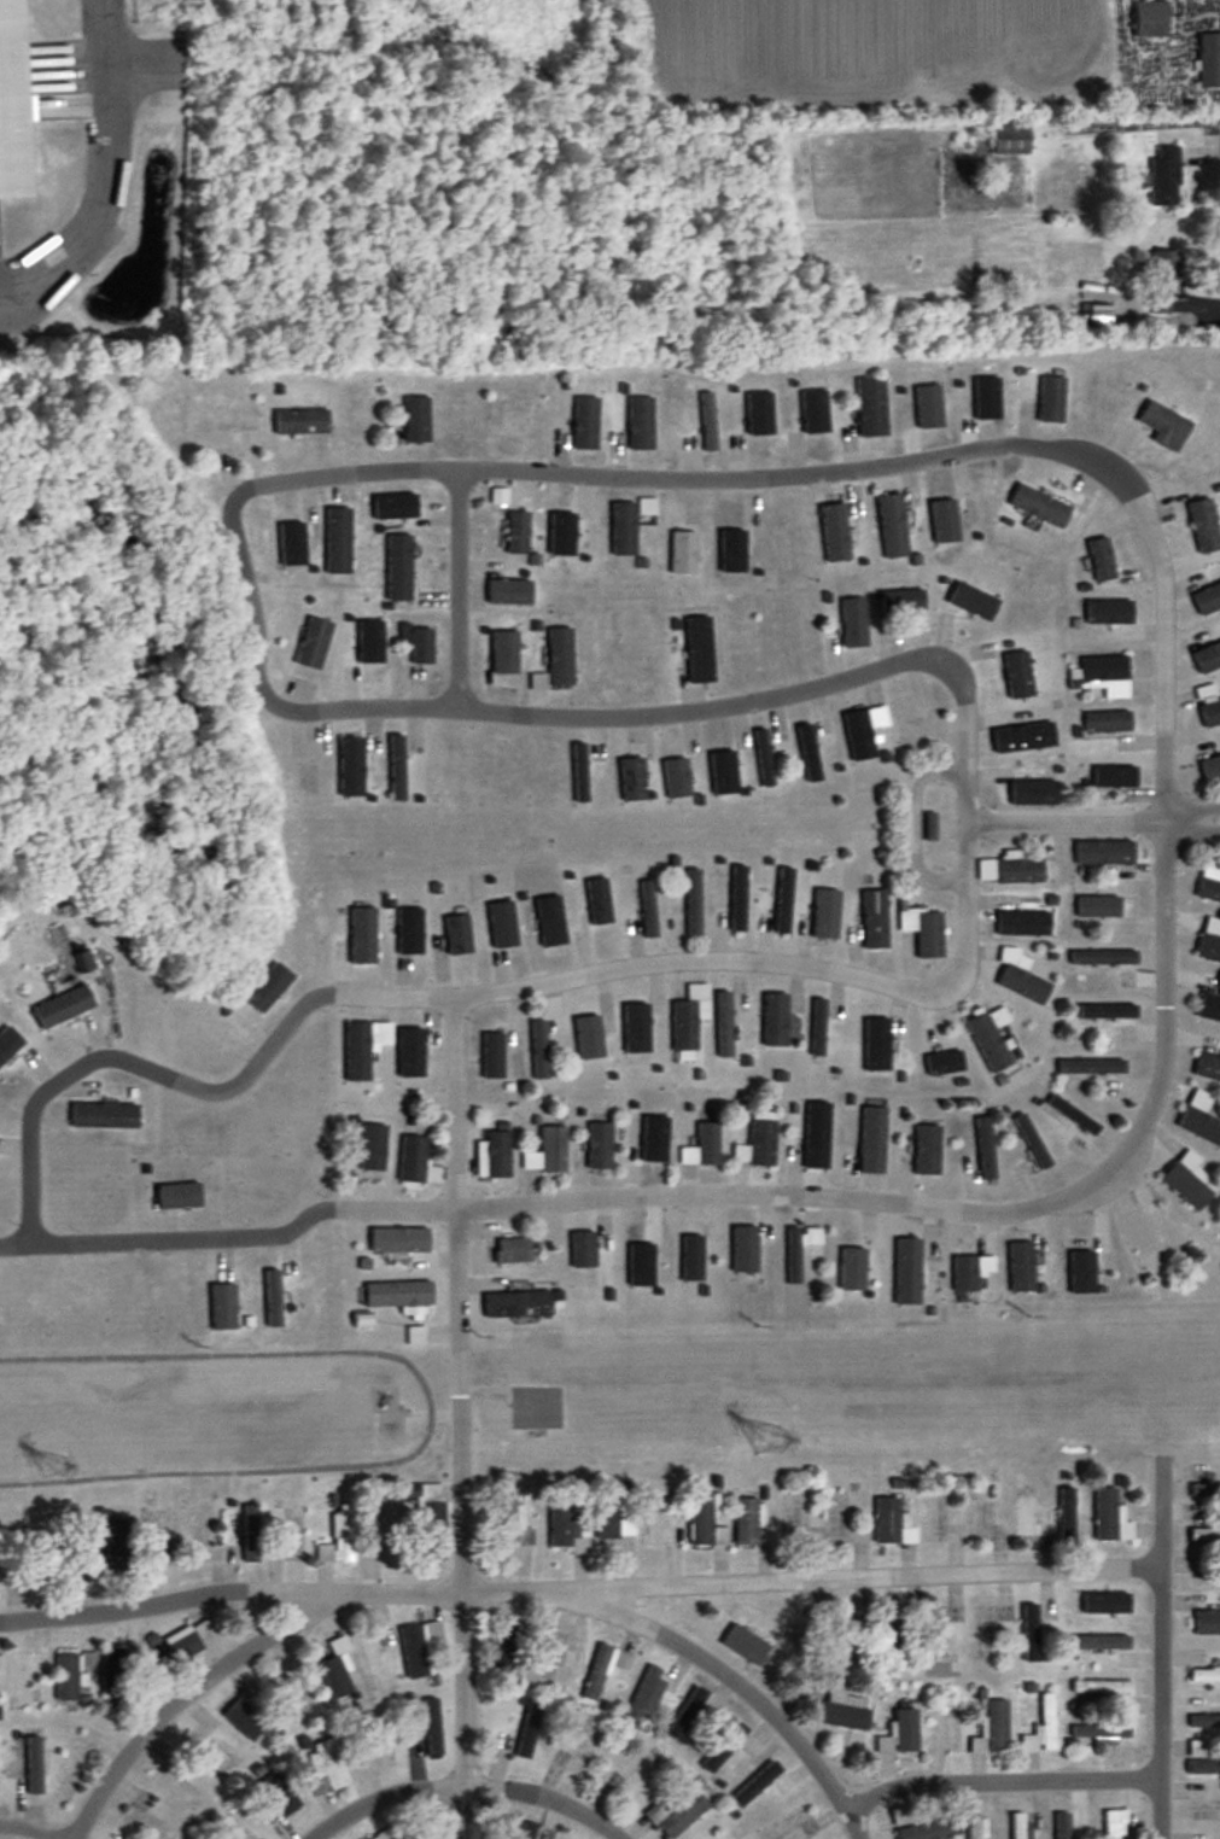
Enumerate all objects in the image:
building: (1149, 21)
building: (1209, 62)
building: (12, 104)
road: (1183, 121)
building: (1009, 141)
road: (105, 169)
building: (1163, 176)
building: (1162, 280)
road: (1204, 298)
building: (1095, 311)
building: (1050, 398)
building: (871, 407)
building: (224, 418)
building: (416, 419)
building: (1160, 420)
building: (300, 421)
building: (708, 421)
building: (585, 422)
building: (640, 422)
road: (857, 468)
building: (1039, 506)
building: (1203, 525)
building: (892, 526)
building: (623, 529)
building: (518, 532)
building: (834, 532)
building: (337, 539)
building: (683, 551)
building: (1101, 559)
building: (398, 567)
road: (456, 588)
building: (1207, 599)
building: (901, 600)
building: (971, 601)
building: (1108, 611)
building: (853, 621)
building: (313, 642)
building: (418, 642)
building: (699, 648)
building: (560, 656)
building: (1207, 656)
building: (1017, 675)
building: (1104, 675)
building: (1208, 705)
road: (584, 717)
building: (1107, 720)
building: (864, 731)
building: (1023, 737)
building: (809, 753)
building: (764, 757)
building: (351, 766)
building: (397, 767)
building: (1210, 769)
building: (579, 773)
building: (1114, 776)
building: (677, 777)
building: (632, 780)
road: (1189, 810)
road: (1066, 822)
road: (907, 824)
road: (1190, 834)
building: (1104, 852)
building: (1018, 870)
building: (1209, 881)
building: (736, 900)
building: (783, 900)
building: (597, 901)
building: (693, 903)
building: (648, 909)
building: (1115, 911)
building: (821, 917)
building: (874, 920)
building: (502, 924)
building: (1023, 924)
building: (550, 927)
building: (409, 932)
building: (924, 932)
building: (362, 935)
building: (457, 935)
building: (1209, 940)
building: (1102, 957)
building: (83, 961)
building: (1020, 976)
building: (268, 987)
road: (477, 993)
building: (63, 1006)
building: (1209, 1008)
building: (1113, 1016)
building: (689, 1017)
building: (775, 1020)
building: (723, 1024)
building: (817, 1027)
building: (589, 1035)
building: (990, 1038)
building: (10, 1043)
building: (876, 1044)
building: (363, 1047)
building: (415, 1047)
building: (492, 1056)
building: (944, 1063)
building: (1090, 1066)
building: (1208, 1068)
building: (104, 1115)
building: (1072, 1115)
building: (1199, 1120)
building: (654, 1133)
building: (817, 1135)
building: (872, 1140)
building: (758, 1142)
building: (1031, 1142)
building: (707, 1144)
building: (599, 1145)
building: (373, 1148)
building: (985, 1149)
building: (926, 1150)
building: (548, 1151)
building: (494, 1156)
building: (413, 1160)
building: (1186, 1181)
building: (179, 1193)
road: (737, 1196)
building: (401, 1240)
building: (1142, 1242)
building: (583, 1249)
building: (745, 1249)
building: (799, 1249)
building: (513, 1250)
building: (636, 1256)
building: (691, 1259)
building: (850, 1262)
building: (1081, 1263)
building: (1020, 1267)
building: (907, 1272)
building: (970, 1272)
road: (457, 1294)
building: (398, 1295)
building: (519, 1304)
building: (223, 1307)
power tower: (767, 1440)
power tower: (52, 1464)
building: (1204, 1490)
building: (977, 1513)
building: (613, 1517)
building: (1027, 1517)
building: (1109, 1517)
building: (705, 1522)
building: (510, 1523)
building: (893, 1523)
building: (752, 1524)
building: (658, 1525)
building: (566, 1526)
building: (433, 1530)
building: (391, 1531)
building: (251, 1535)
building: (1204, 1535)
building: (339, 1537)
building: (117, 1547)
building: (23, 1559)
road: (812, 1578)
building: (1204, 1583)
road: (229, 1588)
building: (1029, 1633)
building: (894, 1639)
building: (748, 1640)
building: (844, 1640)
building: (1099, 1642)
building: (419, 1647)
building: (506, 1650)
building: (175, 1653)
road: (699, 1654)
road: (232, 1657)
building: (374, 1663)
building: (0, 1664)
building: (118, 1669)
building: (603, 1669)
building: (71, 1674)
building: (1204, 1676)
building: (25, 1679)
building: (647, 1693)
building: (1107, 1693)
road: (1161, 1703)
building: (842, 1710)
building: (1046, 1712)
road: (462, 1715)
building: (691, 1720)
building: (245, 1721)
building: (1204, 1722)
building: (432, 1728)
building: (992, 1730)
building: (527, 1733)
building: (945, 1733)
building: (901, 1734)
building: (1102, 1734)
building: (579, 1750)
building: (725, 1750)
building: (327, 1768)
building: (1203, 1768)
building: (635, 1780)
road: (1000, 1780)
road: (467, 1782)
building: (757, 1786)
building: (280, 1794)
building: (677, 1815)
building: (1115, 1823)
building: (920, 1826)
building: (1017, 1826)
building: (1062, 1826)
building: (975, 1827)
building: (220, 1829)
road: (24, 1831)
building: (386, 1834)

